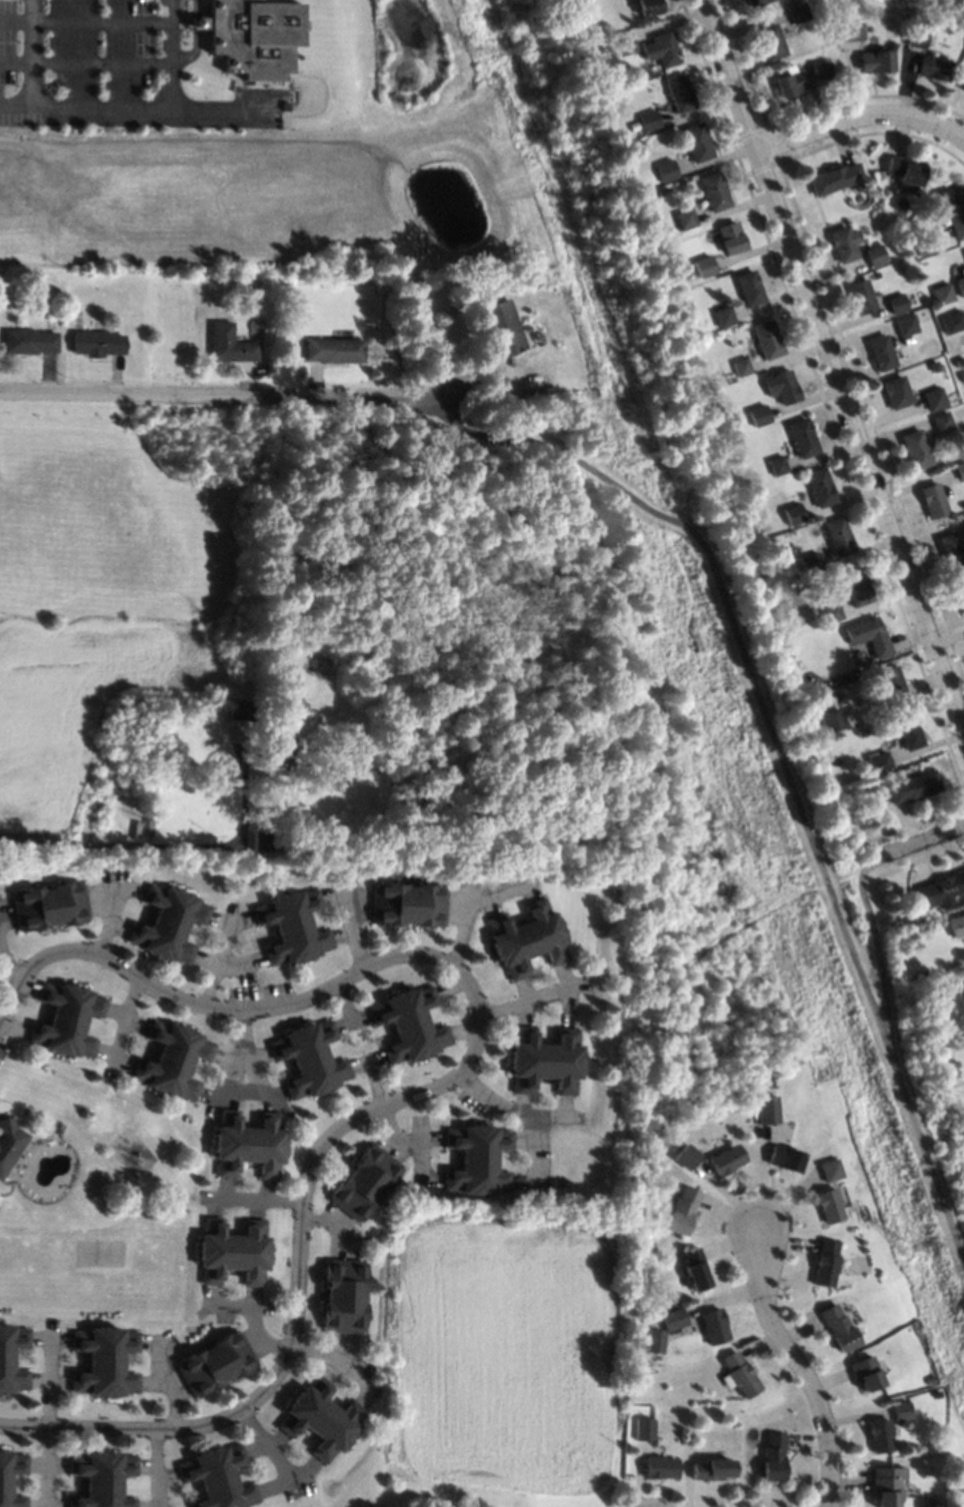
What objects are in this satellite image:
building: (939, 0)
building: (929, 1)
building: (750, 2)
building: (647, 7)
road: (194, 8)
building: (795, 12)
building: (841, 16)
road: (84, 21)
road: (194, 22)
building: (849, 30)
building: (251, 36)
building: (914, 37)
building: (768, 40)
building: (621, 43)
building: (663, 48)
building: (593, 49)
road: (190, 51)
road: (31, 52)
road: (169, 53)
building: (823, 59)
building: (873, 60)
road: (84, 64)
building: (931, 68)
parking lot: (98, 70)
building: (817, 70)
building: (788, 82)
building: (962, 85)
building: (678, 92)
road: (139, 106)
road: (861, 113)
building: (647, 119)
building: (695, 141)
building: (636, 143)
building: (665, 169)
building: (902, 169)
building: (832, 177)
building: (713, 190)
building: (952, 210)
building: (685, 218)
building: (729, 237)
building: (841, 243)
building: (924, 246)
building: (963, 251)
building: (872, 254)
building: (704, 266)
building: (960, 281)
building: (222, 282)
building: (748, 287)
building: (941, 293)
building: (859, 295)
building: (895, 303)
building: (722, 315)
building: (952, 321)
building: (904, 325)
building: (499, 327)
building: (766, 338)
building: (26, 340)
building: (95, 342)
building: (227, 343)
building: (332, 349)
building: (880, 352)
building: (959, 361)
building: (933, 365)
building: (740, 366)
road: (834, 370)
building: (962, 376)
building: (780, 386)
road: (222, 392)
building: (895, 392)
building: (933, 398)
building: (757, 414)
building: (941, 420)
building: (801, 437)
building: (915, 449)
building: (775, 464)
building: (960, 469)
building: (819, 486)
building: (933, 500)
park: (319, 513)
building: (792, 513)
building: (962, 519)
building: (761, 530)
building: (836, 535)
building: (950, 549)
building: (808, 562)
building: (854, 585)
building: (959, 589)
building: (829, 611)
building: (866, 635)
building: (888, 682)
crop: (81, 693)
building: (234, 720)
building: (833, 721)
building: (861, 731)
building: (908, 731)
building: (277, 742)
road: (779, 759)
building: (877, 760)
park: (785, 780)
building: (912, 787)
building: (864, 788)
building: (147, 826)
building: (309, 827)
building: (321, 828)
building: (270, 832)
road: (922, 845)
building: (268, 846)
road: (173, 847)
building: (309, 851)
building: (940, 890)
building: (407, 904)
building: (49, 905)
building: (909, 908)
building: (167, 923)
building: (900, 924)
building: (956, 924)
building: (291, 926)
road: (350, 929)
building: (525, 938)
road: (875, 947)
road: (221, 961)
building: (921, 973)
road: (342, 1004)
road: (520, 1004)
road: (225, 1008)
building: (66, 1019)
building: (945, 1022)
building: (408, 1024)
building: (308, 1058)
building: (172, 1059)
building: (543, 1060)
building: (954, 1063)
road: (375, 1082)
building: (763, 1083)
road: (503, 1106)
building: (764, 1109)
building: (53, 1127)
road: (418, 1134)
building: (8, 1141)
building: (246, 1143)
road: (407, 1143)
building: (673, 1143)
road: (532, 1147)
building: (685, 1156)
building: (782, 1157)
building: (477, 1159)
building: (724, 1159)
building: (828, 1169)
building: (364, 1181)
road: (259, 1201)
building: (826, 1205)
building: (681, 1210)
road: (334, 1223)
building: (231, 1250)
building: (823, 1263)
building: (694, 1267)
road: (299, 1291)
building: (342, 1295)
building: (673, 1318)
building: (713, 1326)
building: (836, 1327)
building: (655, 1341)
building: (6, 1358)
building: (103, 1361)
building: (214, 1362)
road: (797, 1365)
building: (865, 1373)
building: (737, 1374)
building: (929, 1379)
building: (936, 1393)
building: (900, 1410)
building: (320, 1417)
building: (645, 1429)
building: (879, 1434)
building: (773, 1457)
building: (660, 1467)
building: (712, 1468)
building: (216, 1476)
building: (101, 1478)
building: (5, 1484)
building: (885, 1485)
building: (924, 1506)

